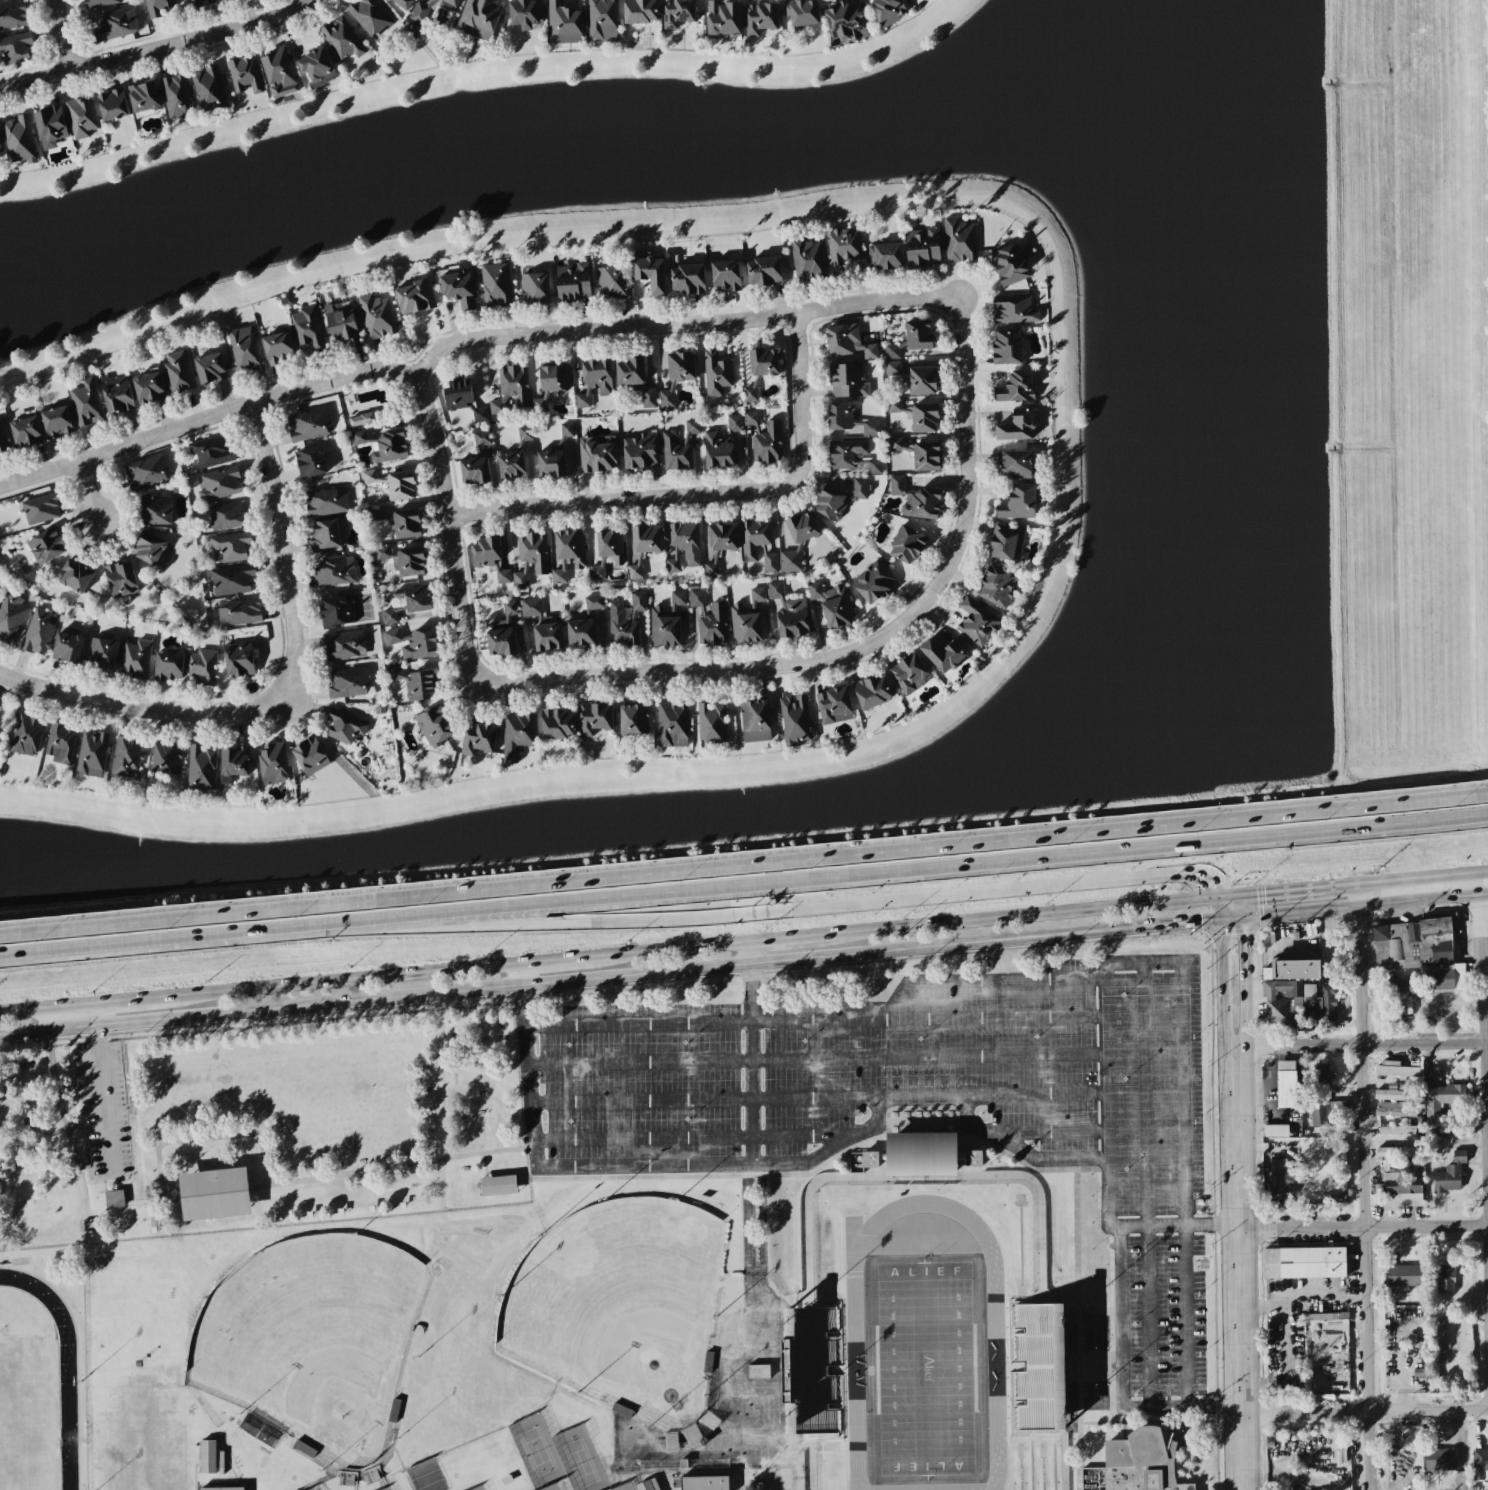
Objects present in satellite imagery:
building: (223, 0)
building: (100, 2)
building: (452, 2)
building: (198, 3)
building: (403, 3)
building: (158, 7)
building: (640, 11)
building: (887, 11)
building: (802, 12)
building: (677, 13)
building: (525, 14)
building: (12, 15)
building: (369, 16)
building: (418, 16)
building: (723, 17)
building: (478, 18)
building: (760, 18)
building: (602, 20)
building: (845, 22)
building: (117, 23)
building: (563, 23)
road: (62, 35)
building: (342, 39)
road: (155, 47)
building: (15, 48)
building: (316, 67)
building: (278, 72)
building: (244, 74)
building: (208, 87)
building: (175, 95)
building: (143, 96)
building: (112, 105)
building: (81, 117)
building: (50, 126)
building: (19, 139)
building: (0, 148)
building: (959, 240)
building: (922, 247)
building: (843, 248)
building: (885, 256)
building: (807, 259)
building: (1010, 265)
building: (764, 272)
building: (725, 276)
building: (687, 279)
building: (573, 282)
building: (611, 282)
building: (496, 285)
building: (457, 286)
building: (535, 287)
building: (415, 297)
building: (1013, 309)
building: (376, 316)
building: (341, 325)
building: (307, 327)
building: (918, 335)
road: (463, 340)
building: (848, 341)
building: (277, 347)
building: (1007, 347)
building: (244, 348)
building: (893, 350)
building: (763, 361)
building: (210, 368)
building: (893, 368)
building: (178, 371)
building: (629, 371)
building: (716, 373)
building: (677, 375)
building: (594, 380)
building: (847, 380)
building: (922, 380)
building: (551, 384)
building: (1016, 386)
building: (148, 388)
building: (510, 389)
building: (750, 393)
building: (116, 394)
road: (799, 397)
building: (648, 398)
building: (463, 400)
building: (86, 403)
building: (894, 405)
building: (924, 418)
building: (361, 419)
building: (849, 419)
building: (56, 422)
building: (734, 422)
building: (308, 424)
building: (1017, 426)
building: (567, 429)
building: (25, 430)
building: (525, 433)
building: (359, 437)
building: (4, 438)
building: (764, 439)
building: (481, 440)
building: (895, 444)
building: (388, 446)
building: (678, 446)
building: (212, 451)
building: (640, 451)
building: (718, 451)
building: (846, 452)
building: (597, 456)
building: (926, 457)
building: (311, 461)
building: (511, 464)
building: (551, 464)
building: (1017, 465)
building: (874, 466)
building: (146, 471)
building: (475, 471)
building: (373, 477)
building: (220, 483)
building: (401, 485)
building: (859, 488)
road: (91, 491)
road: (622, 499)
building: (915, 499)
building: (325, 502)
building: (1018, 502)
building: (830, 504)
building: (41, 509)
building: (157, 510)
building: (374, 514)
building: (226, 516)
building: (802, 527)
road: (449, 529)
building: (328, 534)
building: (722, 537)
building: (754, 538)
building: (645, 539)
building: (1006, 543)
building: (907, 544)
building: (231, 545)
building: (683, 545)
building: (46, 546)
building: (150, 549)
road: (284, 550)
building: (533, 551)
building: (607, 552)
building: (568, 553)
building: (489, 558)
building: (402, 559)
building: (790, 561)
building: (770, 563)
building: (635, 569)
building: (711, 569)
building: (334, 571)
building: (76, 576)
building: (521, 578)
building: (120, 579)
building: (230, 579)
building: (874, 582)
building: (997, 586)
building: (758, 594)
building: (415, 598)
building: (678, 598)
building: (594, 602)
building: (832, 603)
building: (531, 607)
building: (509, 608)
building: (337, 611)
building: (239, 612)
building: (789, 612)
building: (10, 616)
building: (389, 616)
building: (625, 620)
building: (709, 620)
building: (977, 621)
building: (745, 624)
building: (664, 628)
building: (38, 632)
building: (581, 633)
building: (548, 637)
building: (501, 642)
building: (413, 643)
building: (345, 645)
building: (67, 647)
road: (860, 649)
building: (103, 653)
building: (942, 655)
building: (135, 658)
building: (238, 659)
building: (168, 666)
building: (202, 666)
building: (395, 672)
building: (909, 673)
building: (348, 682)
building: (420, 684)
building: (872, 692)
building: (834, 705)
road: (141, 708)
building: (594, 718)
building: (633, 719)
building: (795, 719)
building: (755, 720)
building: (711, 722)
building: (557, 724)
building: (672, 724)
building: (435, 725)
building: (345, 726)
building: (26, 734)
building: (517, 734)
building: (478, 738)
building: (61, 742)
building: (92, 753)
building: (126, 756)
building: (310, 756)
building: (166, 758)
building: (273, 763)
building: (234, 764)
building: (201, 768)
road: (744, 863)
road: (916, 872)
road: (1163, 875)
road: (1424, 877)
traffic signals: (1210, 883)
road: (1022, 889)
road: (1295, 891)
traffic signals: (1266, 894)
road: (1236, 909)
road: (1366, 909)
railway: (744, 910)
road: (1225, 910)
road: (1020, 917)
road: (648, 920)
road: (1233, 922)
traffic signals: (1202, 925)
traffic signals: (1245, 937)
road: (781, 939)
road: (172, 943)
road: (669, 950)
building: (1421, 951)
road: (552, 961)
road: (1171, 962)
building: (1292, 969)
road: (610, 978)
road: (337, 982)
building: (1397, 984)
road: (1245, 986)
road: (1222, 987)
road: (129, 1003)
road: (49, 1009)
road: (638, 1022)
road: (1360, 1045)
road: (1487, 1046)
road: (752, 1052)
road: (527, 1066)
road: (1107, 1068)
building: (1395, 1070)
road: (53, 1071)
building: (1321, 1077)
building: (1286, 1084)
road: (104, 1092)
building: (1396, 1094)
building: (1440, 1103)
building: (1396, 1109)
building: (1330, 1112)
parking lot: (103, 1113)
road: (967, 1118)
park: (260, 1127)
building: (1275, 1130)
building: (1397, 1130)
road: (53, 1134)
road: (204, 1140)
building: (1398, 1151)
building: (922, 1152)
road: (483, 1167)
road: (390, 1168)
road: (82, 1170)
building: (1450, 1174)
building: (1282, 1181)
building: (1402, 1183)
road: (103, 1186)
building: (497, 1187)
road: (1368, 1187)
building: (212, 1195)
park: (212, 1195)
building: (1335, 1198)
building: (112, 1200)
road: (150, 1202)
road: (150, 1215)
road: (78, 1216)
road: (1364, 1224)
road: (1181, 1226)
parking lot: (43, 1234)
building: (1304, 1262)
road: (1241, 1269)
building: (1403, 1277)
building: (1445, 1278)
road: (1305, 1300)
park: (621, 1305)
stadium: (644, 1330)
stadium: (916, 1330)
road: (1103, 1330)
building: (1319, 1332)
park: (312, 1339)
building: (1439, 1346)
building: (1036, 1366)
building: (1332, 1366)
park: (925, 1368)
track: (995, 1368)
stadium: (42, 1369)
building: (815, 1370)
building: (757, 1371)
building: (1433, 1378)
road: (1103, 1401)
road: (1215, 1407)
park: (28, 1412)
road: (1364, 1412)
track: (68, 1417)
building: (1337, 1447)
park: (536, 1451)
building: (207, 1456)
building: (1440, 1460)
park: (580, 1463)
building: (1480, 1464)
building: (1137, 1465)
building: (704, 1483)
building: (647, 1485)
building: (222, 1488)
building: (1418, 1489)

